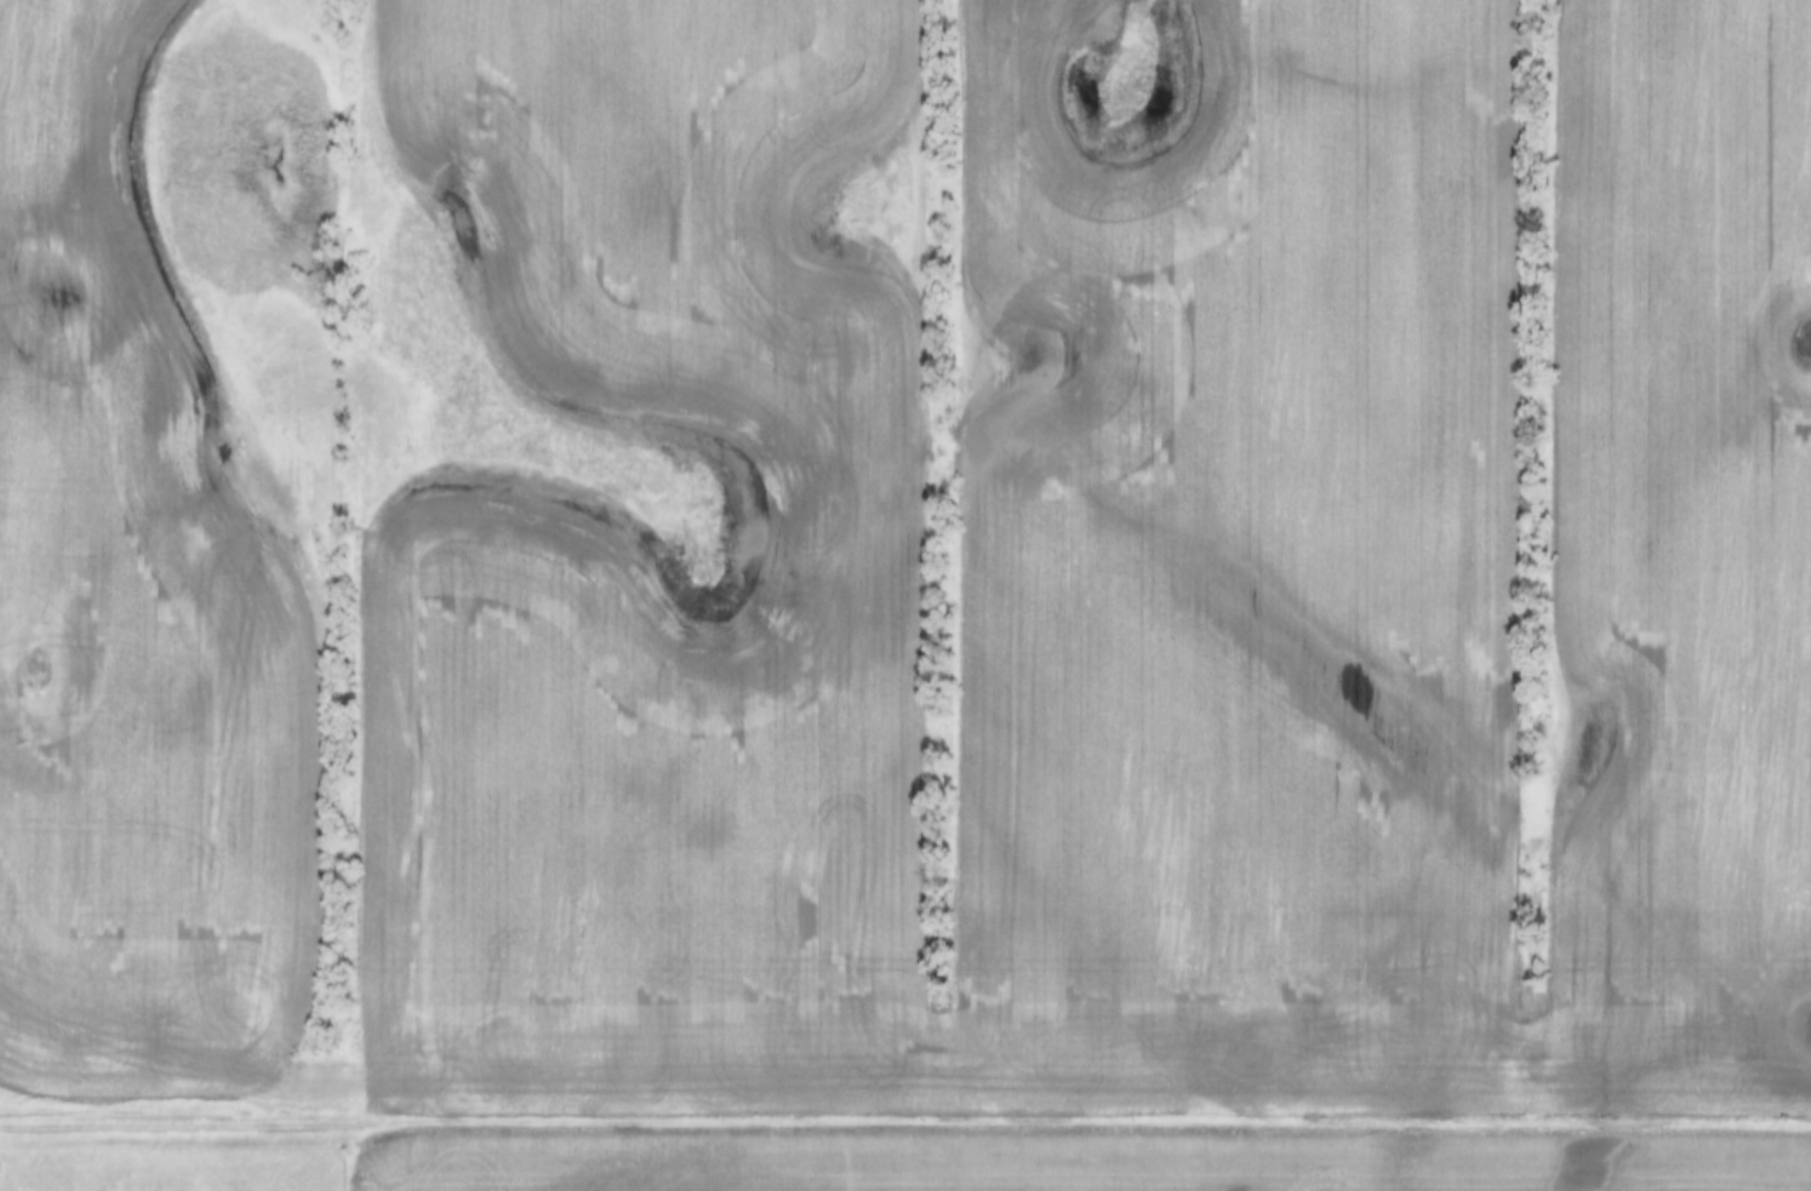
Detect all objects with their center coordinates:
road: (904, 1135)

